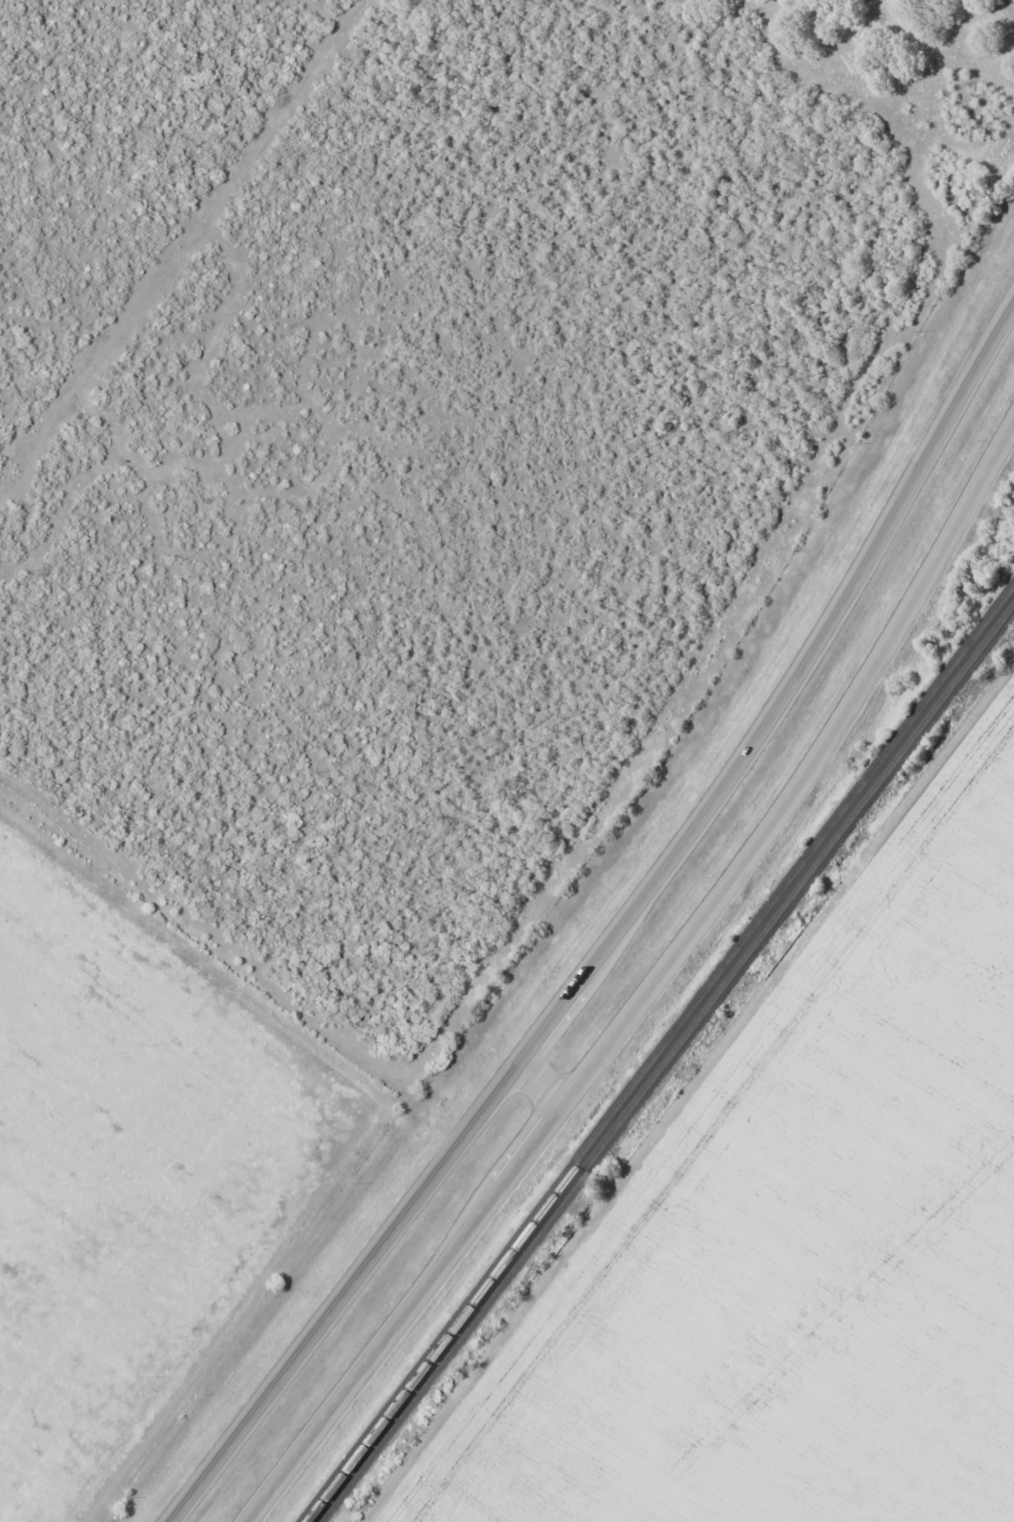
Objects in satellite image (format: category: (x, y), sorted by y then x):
road: (617, 931)
road: (649, 997)
railway: (666, 1063)
road: (546, 1081)

